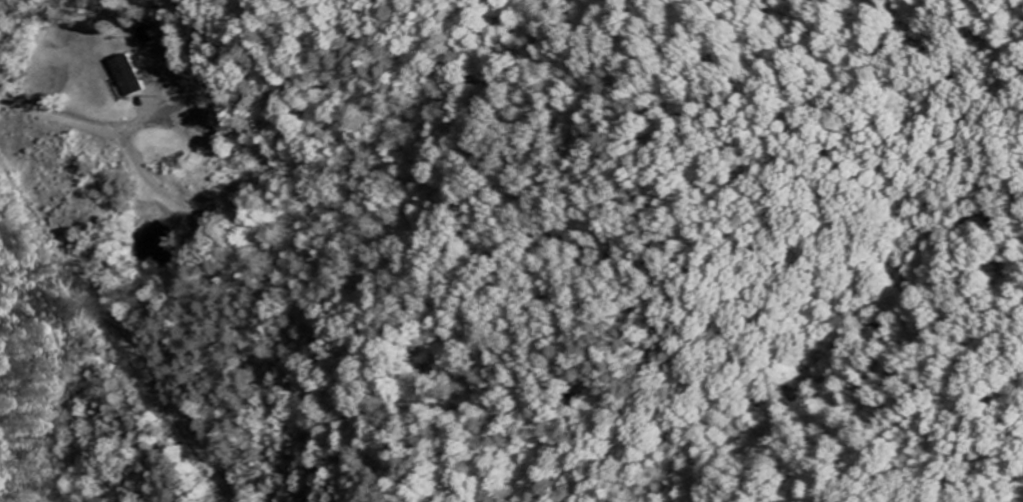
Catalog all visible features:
building: (137, 77)
road: (73, 124)
building: (213, 223)

